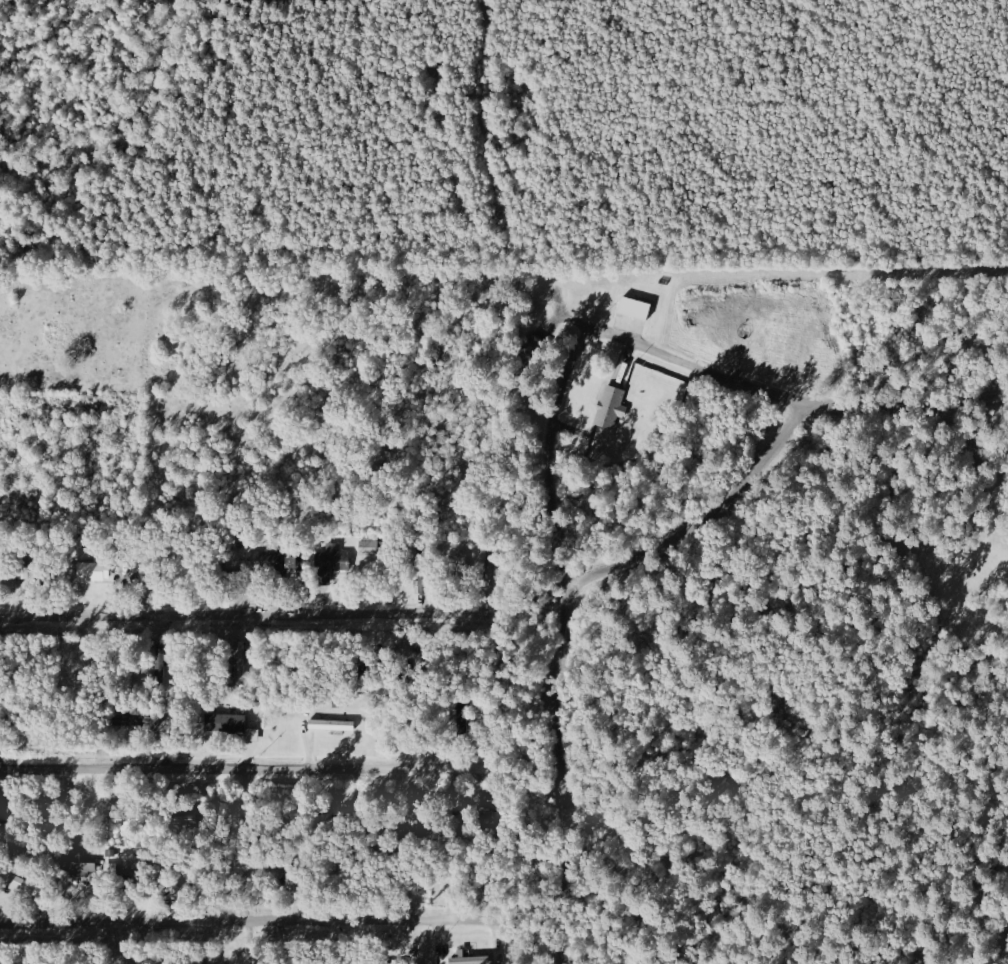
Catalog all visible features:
road: (490, 178)
building: (634, 309)
road: (920, 397)
building: (610, 407)
road: (542, 448)
road: (781, 451)
building: (368, 545)
building: (271, 561)
building: (462, 562)
building: (329, 563)
building: (92, 571)
road: (229, 616)
building: (240, 661)
building: (136, 721)
building: (225, 722)
building: (331, 725)
road: (251, 770)
road: (557, 773)
building: (109, 854)
building: (77, 866)
building: (110, 868)
road: (246, 919)
building: (471, 960)

